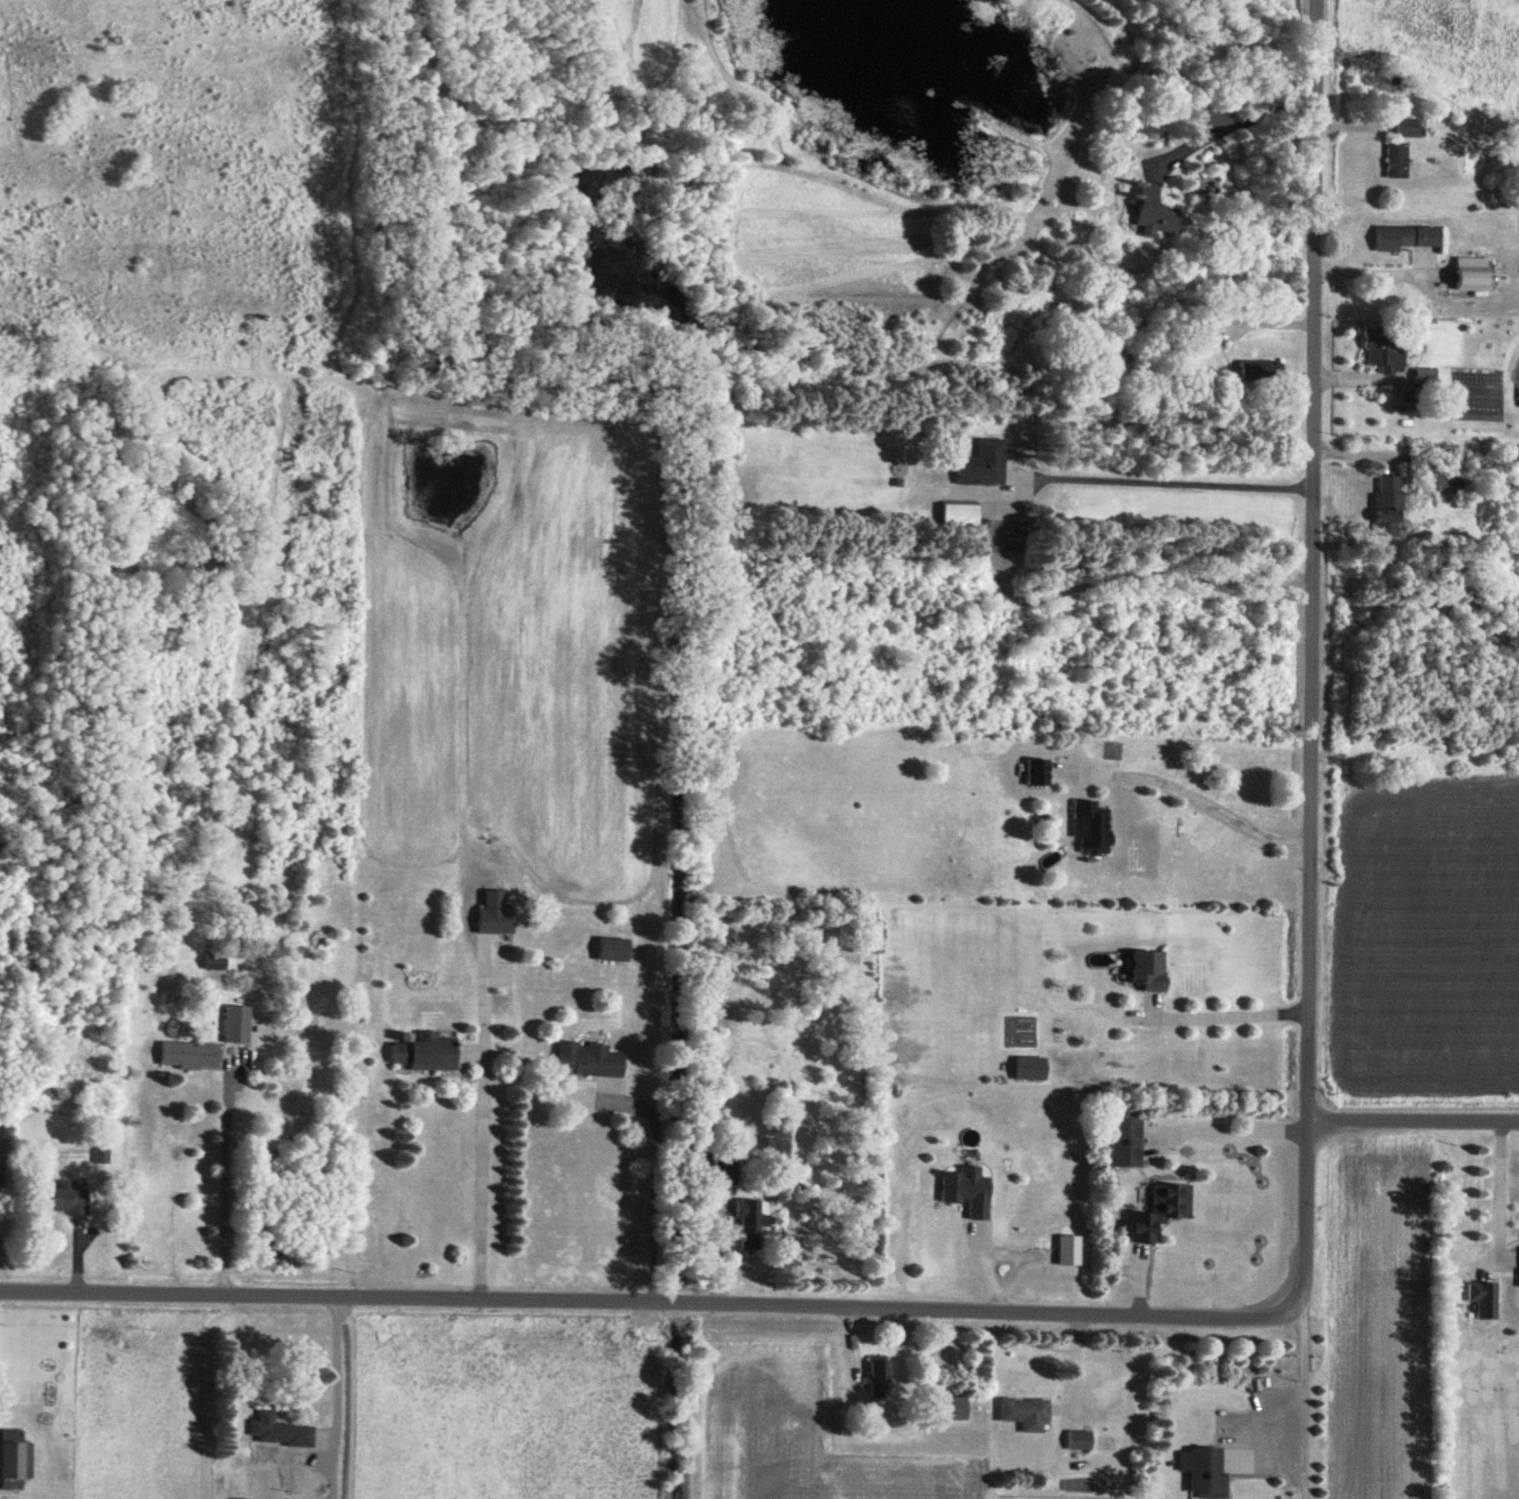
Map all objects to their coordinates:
building: (1212, 113)
building: (1409, 127)
building: (1399, 159)
building: (1159, 210)
building: (1409, 237)
building: (1476, 273)
building: (1213, 331)
building: (1387, 348)
building: (1262, 369)
building: (986, 463)
road: (1160, 477)
building: (1392, 498)
building: (963, 512)
road: (654, 557)
road: (1087, 572)
crop: (523, 629)
road: (443, 734)
road: (1308, 749)
building: (1040, 772)
road: (1195, 797)
building: (1094, 826)
building: (479, 909)
building: (498, 920)
building: (596, 945)
building: (617, 948)
building: (218, 962)
building: (1153, 970)
road: (1220, 1012)
road: (650, 1020)
building: (238, 1023)
building: (436, 1051)
building: (402, 1052)
building: (192, 1054)
building: (572, 1060)
building: (1032, 1068)
road: (588, 1088)
road: (464, 1114)
road: (1412, 1122)
road: (1233, 1128)
building: (1128, 1142)
building: (103, 1154)
road: (644, 1176)
road: (217, 1183)
road: (1495, 1183)
building: (970, 1190)
building: (71, 1198)
building: (1163, 1211)
building: (753, 1223)
building: (1071, 1250)
road: (58, 1253)
road: (1018, 1254)
road: (986, 1274)
building: (1486, 1299)
road: (654, 1305)
road: (836, 1341)
road: (1071, 1359)
building: (880, 1378)
road: (315, 1398)
crop: (496, 1399)
road: (662, 1402)
crop: (123, 1404)
building: (954, 1409)
building: (1027, 1410)
building: (282, 1431)
building: (1082, 1440)
crop: (795, 1441)
building: (15, 1460)
building: (1207, 1470)

